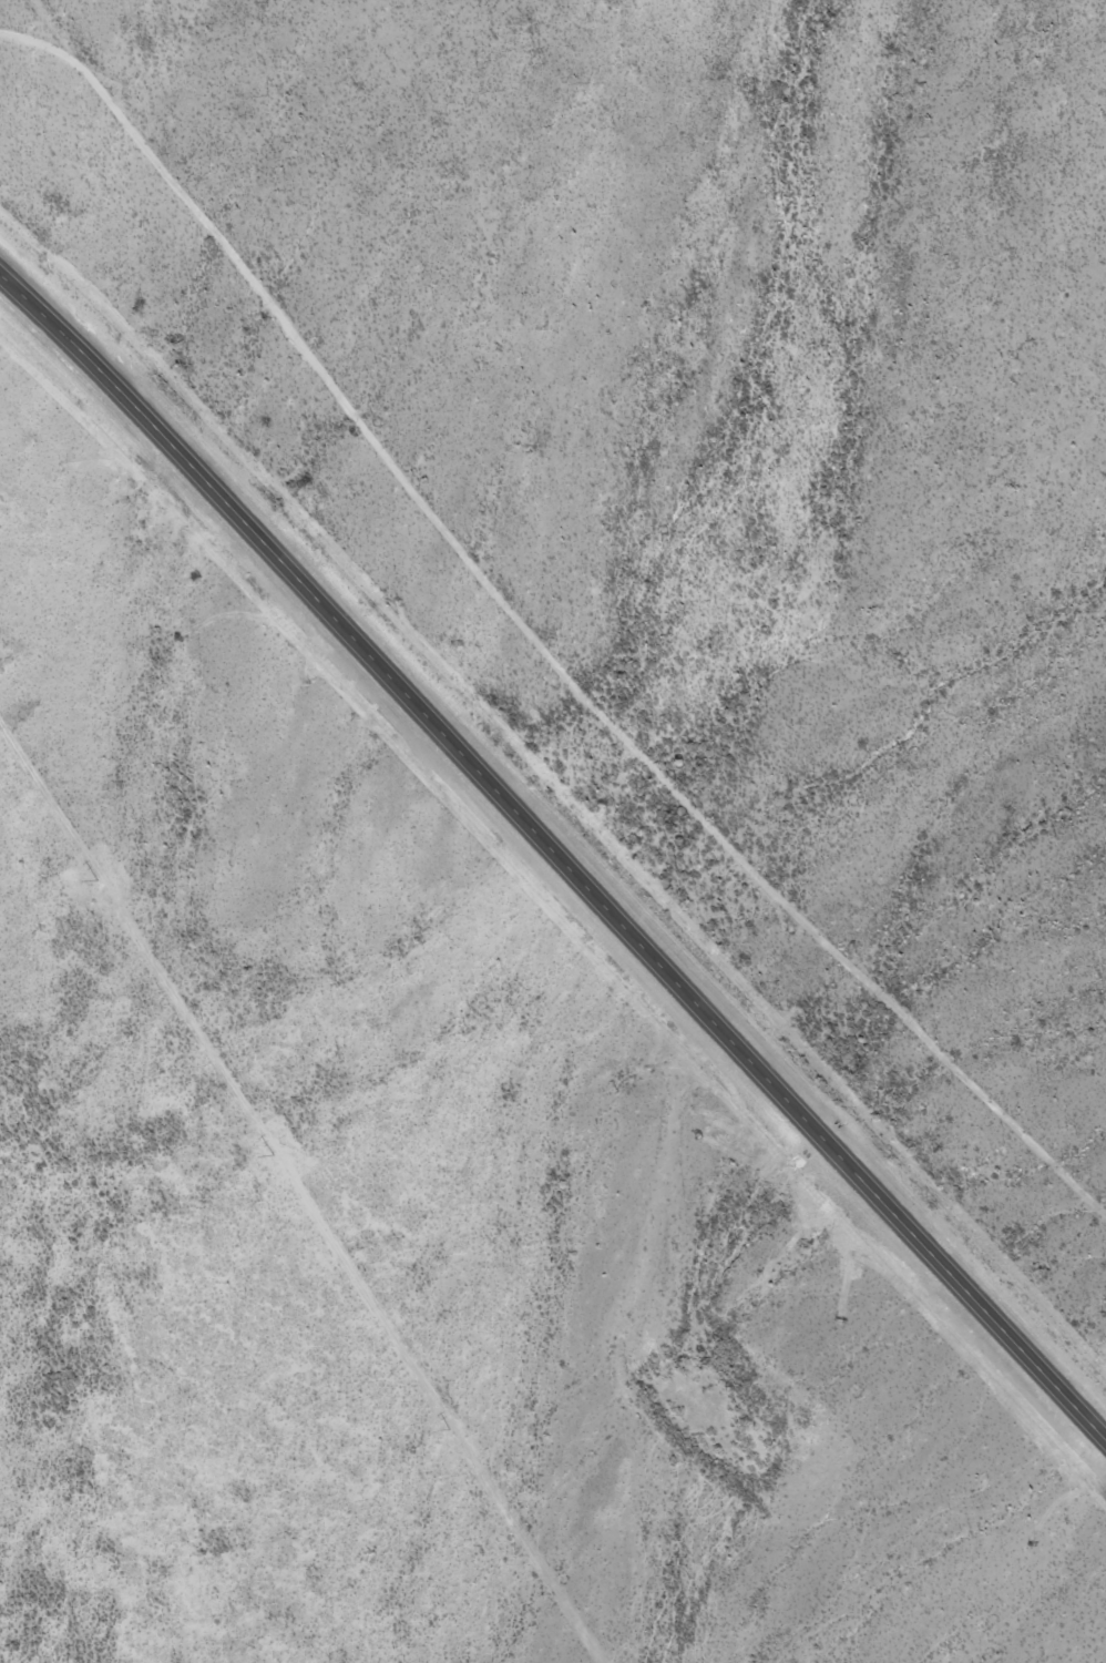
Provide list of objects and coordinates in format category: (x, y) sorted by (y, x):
road: (556, 848)

